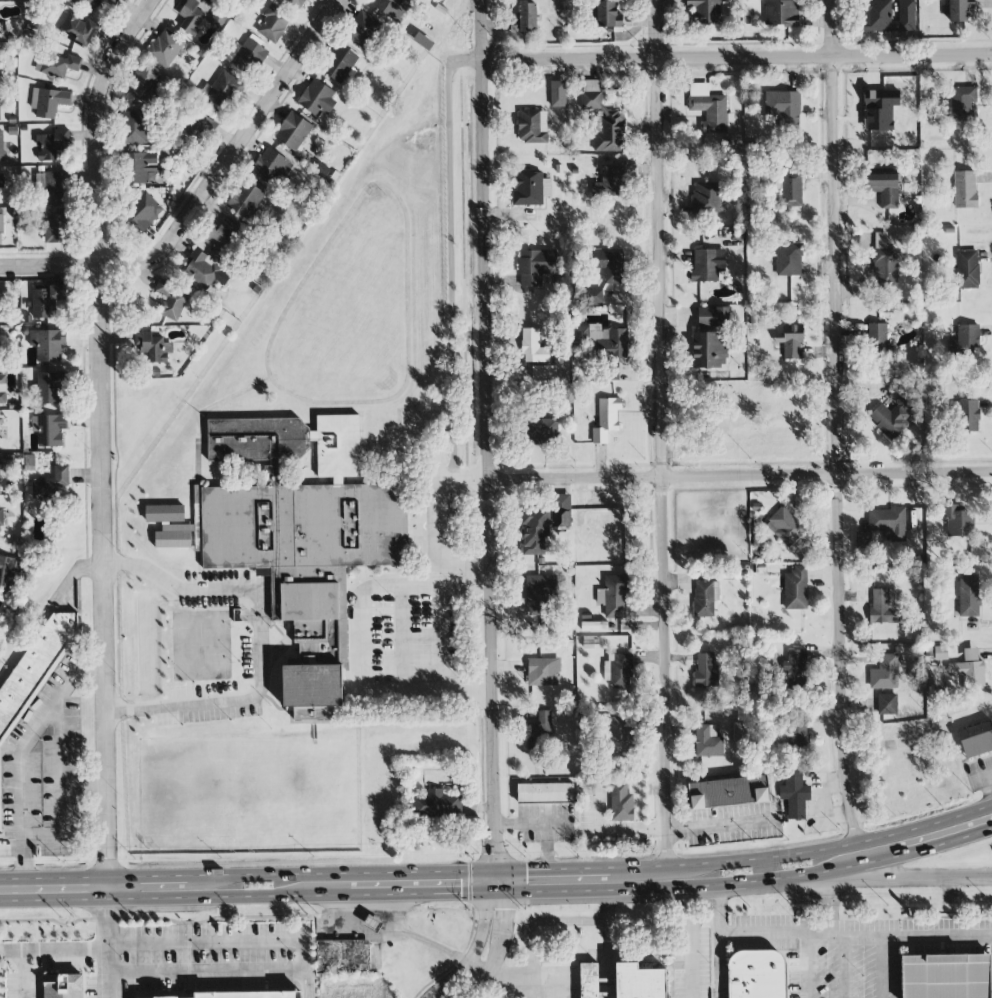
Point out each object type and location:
building: (113, 1)
building: (91, 3)
building: (295, 3)
building: (387, 6)
building: (958, 10)
building: (709, 11)
building: (781, 13)
building: (608, 15)
building: (888, 16)
building: (191, 17)
building: (525, 18)
building: (273, 23)
building: (77, 29)
building: (361, 29)
building: (165, 48)
building: (246, 55)
road: (736, 57)
building: (57, 64)
building: (339, 64)
building: (142, 84)
building: (223, 87)
building: (557, 94)
building: (317, 98)
building: (48, 102)
building: (963, 104)
building: (708, 108)
building: (783, 108)
building: (603, 119)
building: (532, 126)
building: (135, 127)
building: (294, 131)
building: (51, 144)
building: (1, 146)
building: (143, 166)
building: (269, 166)
building: (323, 169)
building: (335, 177)
building: (1, 179)
building: (609, 181)
building: (54, 188)
building: (530, 188)
building: (884, 188)
building: (791, 190)
building: (966, 190)
road: (210, 196)
building: (707, 197)
building: (246, 200)
building: (274, 200)
building: (144, 211)
building: (1, 225)
building: (56, 226)
building: (221, 234)
road: (449, 255)
building: (790, 259)
building: (886, 261)
building: (609, 265)
building: (706, 266)
building: (535, 267)
building: (201, 268)
building: (967, 269)
building: (593, 296)
building: (45, 299)
building: (171, 299)
building: (886, 307)
building: (713, 317)
building: (580, 333)
building: (877, 336)
building: (964, 339)
building: (607, 342)
building: (792, 342)
building: (47, 344)
building: (152, 346)
building: (533, 347)
building: (709, 350)
building: (542, 371)
building: (48, 388)
road: (288, 388)
building: (3, 389)
building: (893, 415)
building: (968, 416)
building: (606, 419)
road: (838, 422)
building: (49, 429)
building: (542, 431)
road: (661, 432)
road: (109, 436)
road: (486, 440)
building: (2, 471)
road: (739, 475)
building: (52, 484)
building: (164, 513)
building: (1, 517)
building: (957, 521)
building: (617, 523)
building: (887, 525)
building: (785, 526)
building: (542, 528)
building: (862, 539)
building: (300, 547)
building: (8, 572)
road: (463, 582)
road: (438, 583)
building: (795, 588)
road: (182, 589)
building: (538, 592)
building: (968, 595)
building: (613, 596)
building: (705, 598)
building: (884, 606)
building: (940, 653)
building: (795, 668)
building: (34, 670)
building: (969, 670)
building: (543, 671)
building: (621, 671)
building: (706, 671)
building: (884, 673)
road: (237, 700)
road: (274, 704)
building: (886, 704)
building: (538, 728)
building: (739, 731)
building: (620, 734)
building: (977, 740)
building: (707, 742)
road: (18, 753)
road: (60, 784)
building: (728, 792)
building: (545, 793)
building: (794, 795)
building: (621, 802)
building: (432, 804)
road: (718, 822)
road: (10, 847)
road: (831, 847)
road: (587, 868)
road: (915, 872)
traffic signals: (494, 880)
road: (753, 881)
road: (818, 881)
road: (492, 883)
road: (256, 885)
road: (806, 910)
road: (719, 911)
road: (828, 912)
building: (372, 923)
road: (382, 933)
road: (605, 933)
road: (528, 936)
road: (869, 937)
road: (734, 938)
road: (228, 941)
road: (690, 942)
road: (82, 951)
building: (343, 955)
road: (567, 959)
road: (476, 966)
road: (879, 967)
road: (845, 968)
road: (205, 972)
building: (753, 973)
road: (22, 974)
road: (104, 974)
building: (947, 977)
road: (606, 979)
building: (589, 980)
building: (639, 982)
building: (63, 986)
road: (606, 986)
road: (607, 993)
building: (250, 995)
road: (607, 997)

